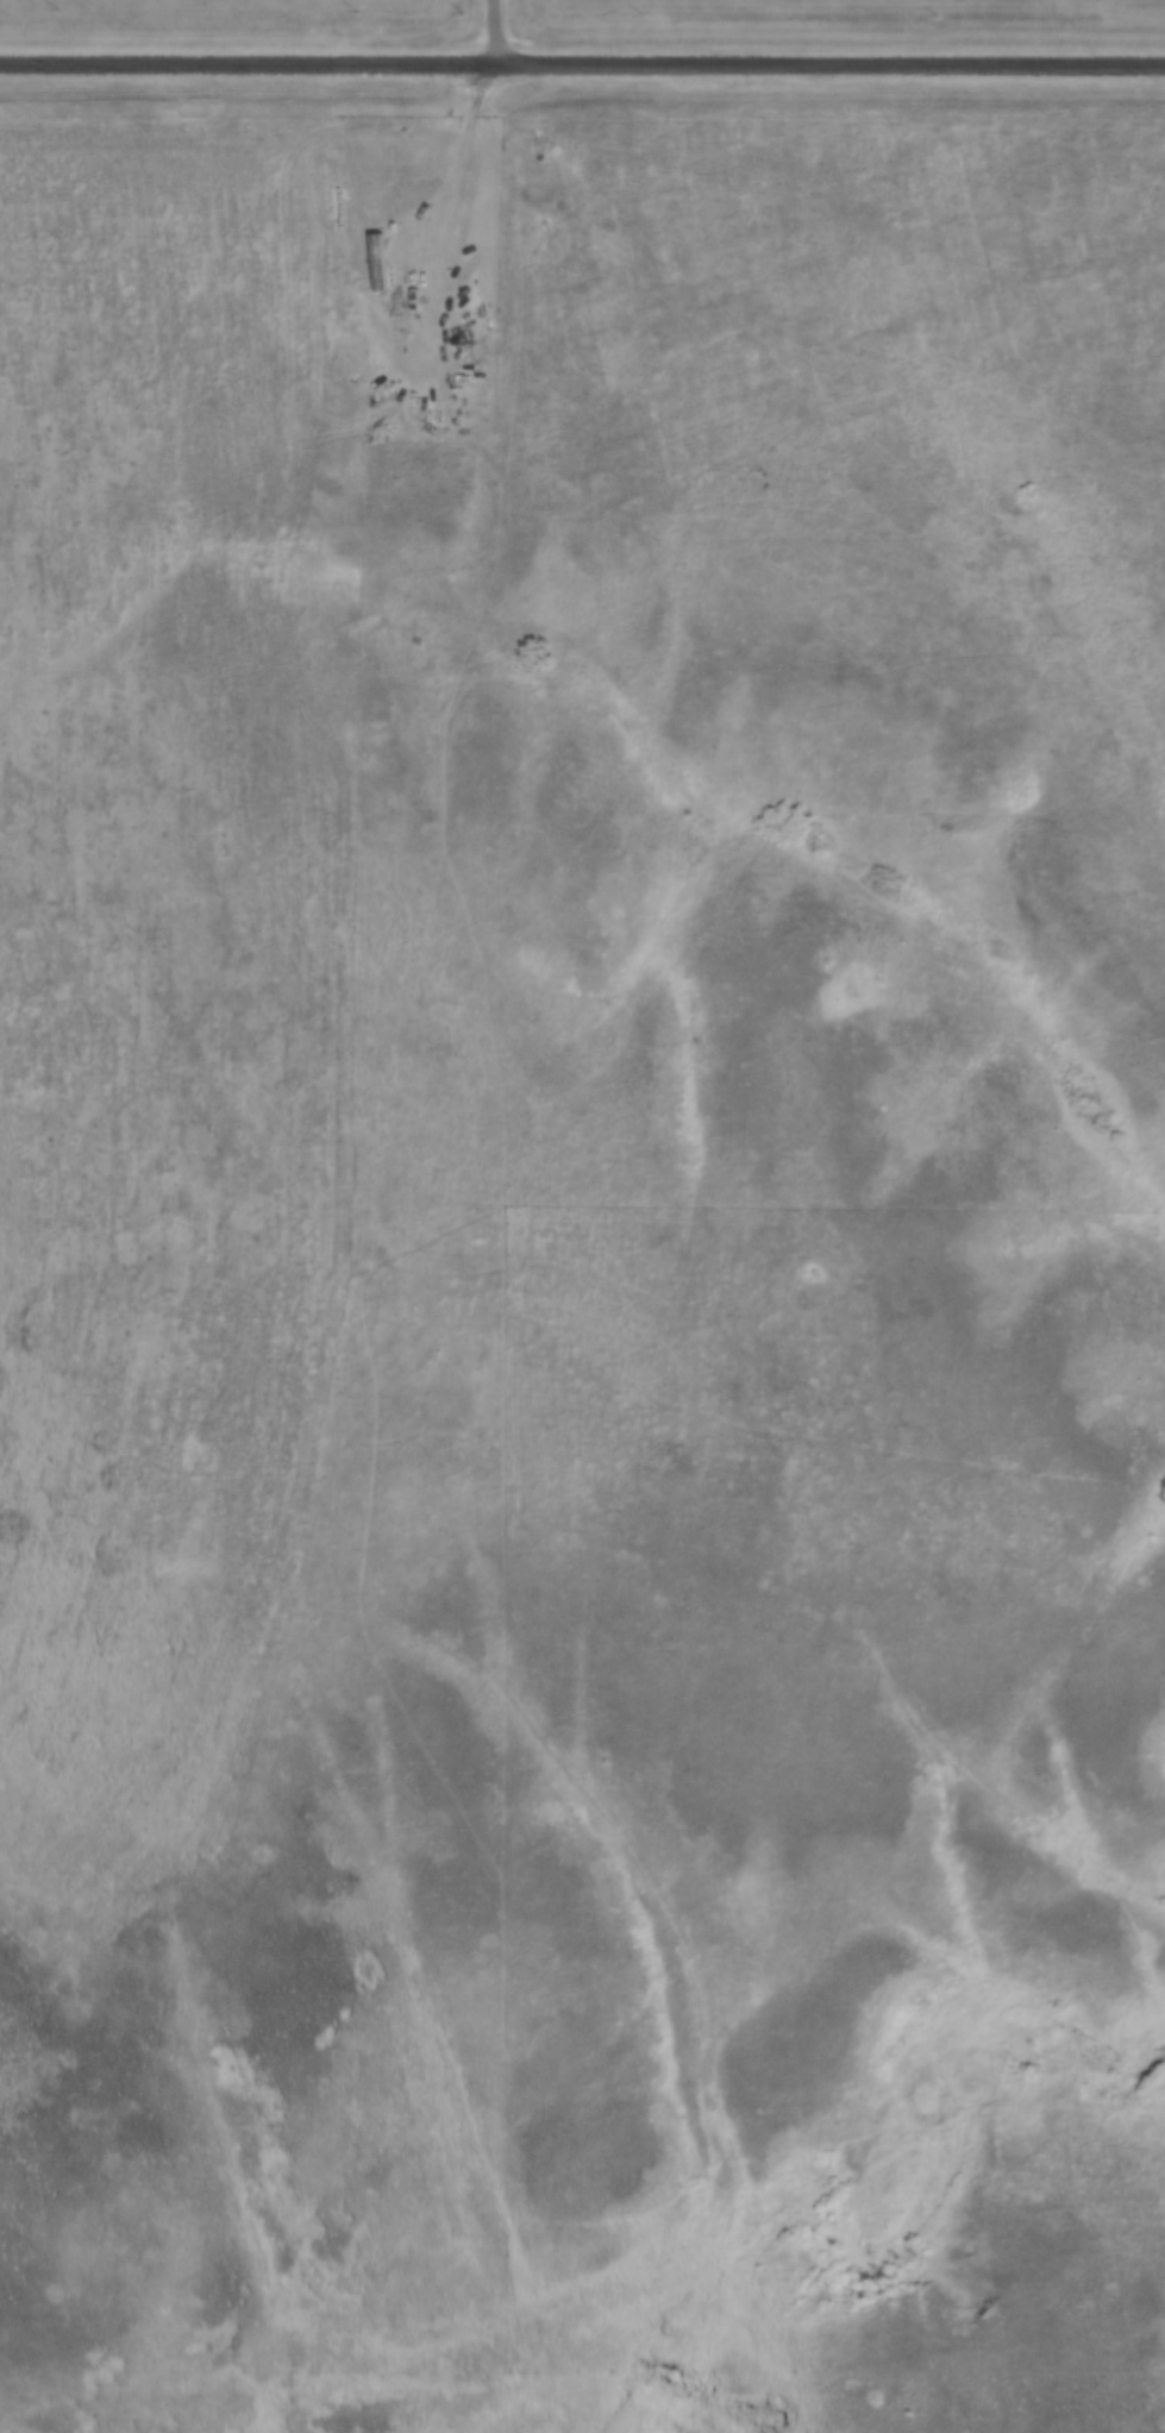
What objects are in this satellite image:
crop: (238, 21)
road: (499, 32)
road: (582, 63)
road: (462, 246)

